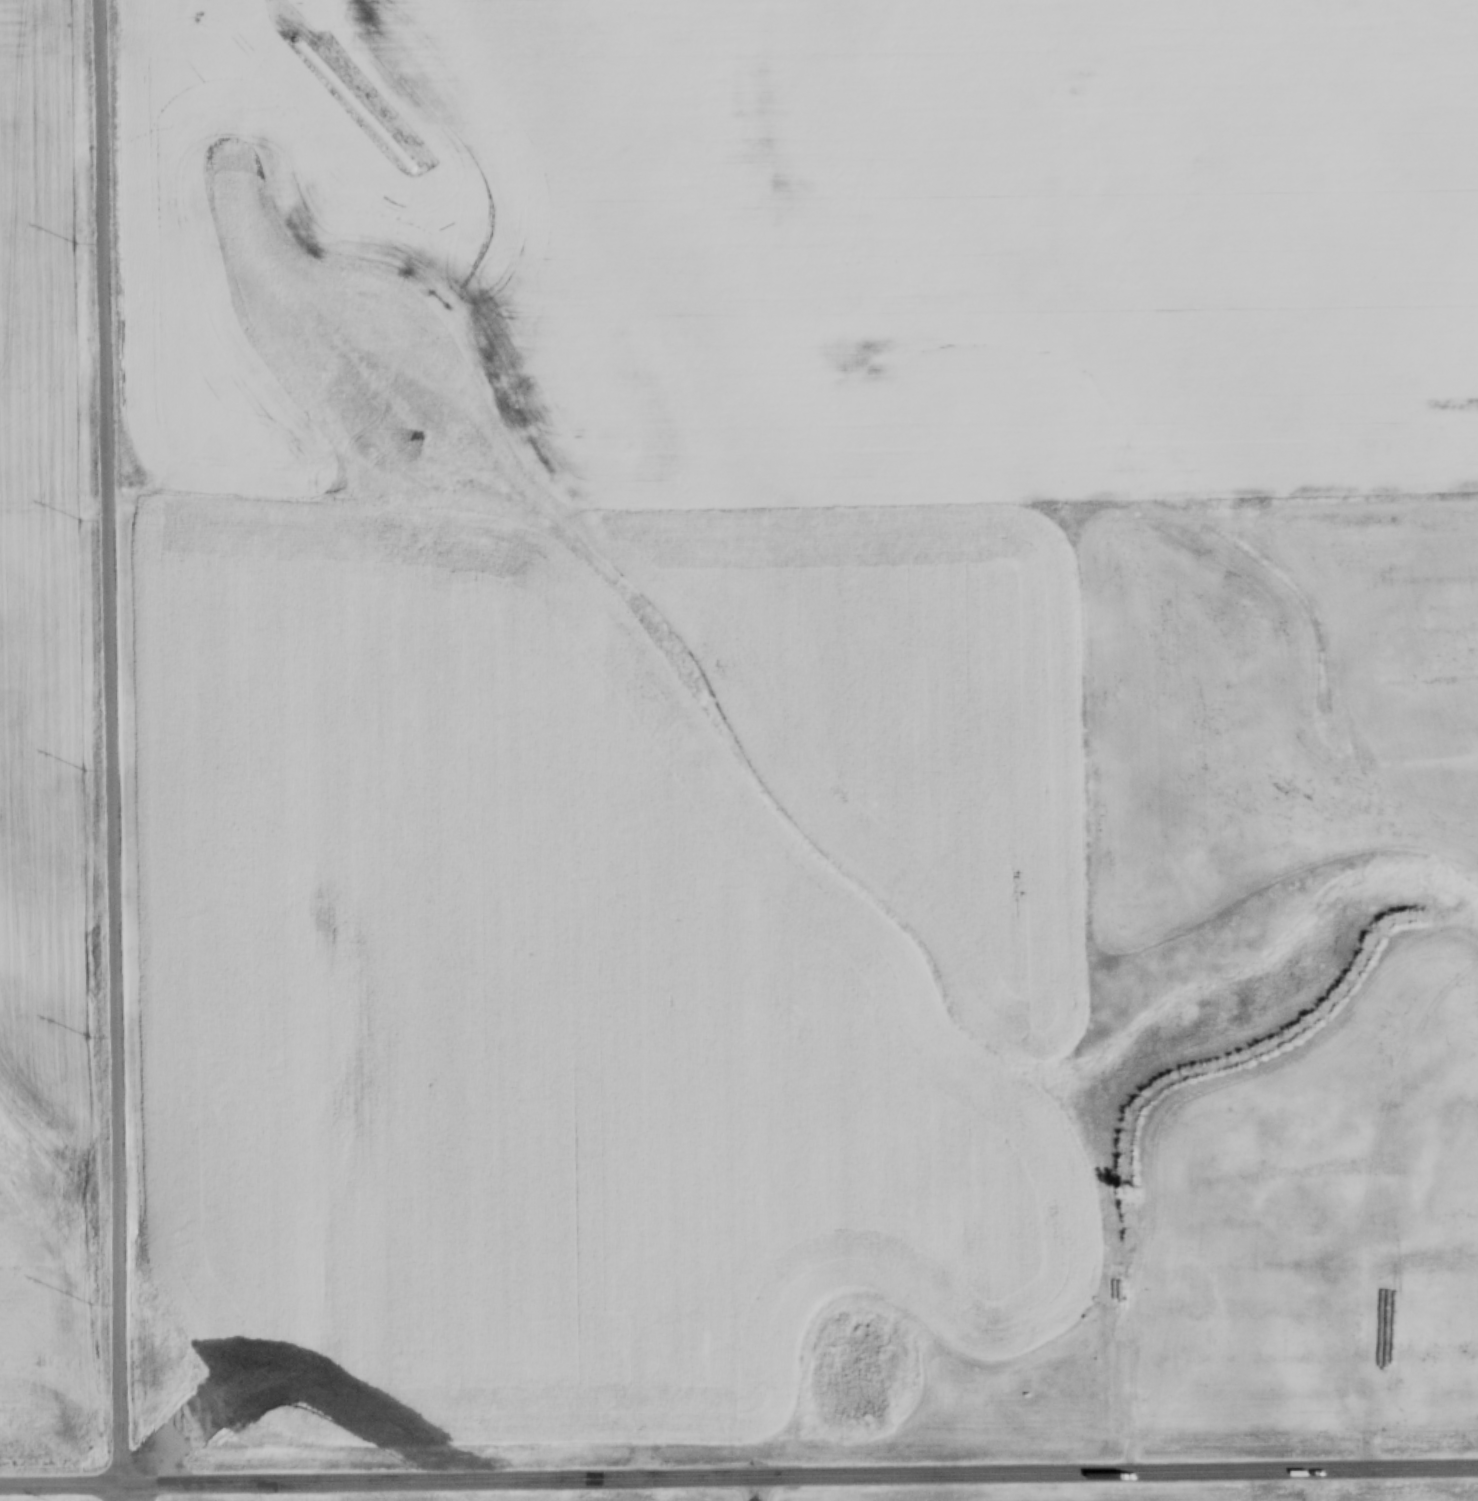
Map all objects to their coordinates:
road: (110, 750)
road: (739, 1474)
road: (763, 1487)

